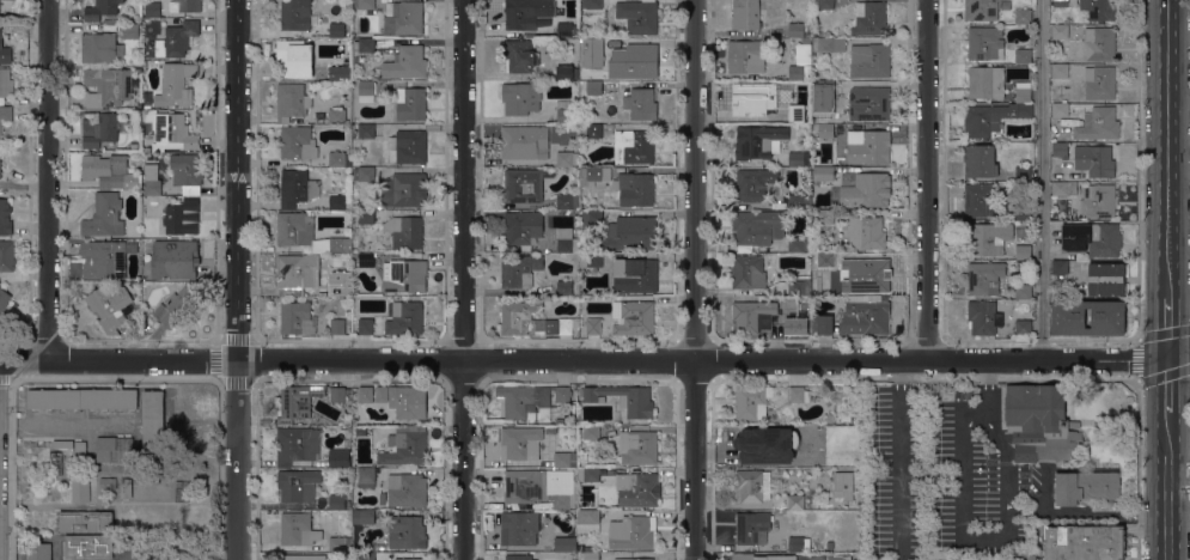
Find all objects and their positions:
building: (1057, 2)
building: (364, 4)
building: (591, 4)
building: (824, 4)
building: (188, 6)
building: (984, 8)
building: (1099, 8)
building: (102, 10)
building: (152, 10)
building: (526, 13)
building: (747, 14)
building: (297, 16)
building: (639, 16)
building: (1023, 17)
building: (403, 18)
building: (869, 18)
building: (110, 20)
building: (336, 30)
building: (567, 30)
building: (795, 30)
building: (1060, 31)
building: (129, 32)
building: (179, 37)
building: (806, 41)
building: (985, 43)
building: (1099, 43)
building: (366, 44)
building: (593, 44)
building: (830, 44)
building: (355, 45)
building: (100, 48)
building: (159, 48)
building: (4, 51)
building: (1023, 55)
building: (520, 56)
building: (747, 57)
building: (292, 59)
building: (869, 61)
building: (633, 62)
building: (801, 63)
building: (405, 65)
building: (1060, 71)
building: (337, 72)
building: (567, 72)
building: (358, 74)
building: (6, 83)
building: (985, 83)
building: (1099, 83)
building: (806, 84)
building: (108, 85)
building: (176, 85)
building: (829, 86)
building: (593, 87)
building: (366, 91)
building: (1023, 91)
building: (520, 98)
building: (753, 98)
building: (289, 102)
building: (641, 103)
building: (869, 103)
building: (413, 104)
building: (1060, 110)
building: (565, 111)
building: (823, 111)
building: (5, 114)
building: (795, 115)
building: (336, 116)
building: (991, 117)
building: (1098, 124)
building: (100, 129)
building: (173, 130)
building: (372, 130)
building: (591, 130)
building: (825, 130)
building: (514, 140)
building: (758, 141)
building: (298, 144)
building: (636, 145)
building: (134, 146)
building: (410, 146)
building: (872, 147)
road: (1170, 147)
building: (1060, 150)
building: (566, 156)
building: (335, 158)
building: (795, 159)
building: (1094, 160)
building: (980, 162)
building: (94, 166)
building: (0, 169)
building: (187, 172)
building: (366, 172)
building: (823, 174)
building: (1023, 174)
building: (594, 175)
building: (1070, 176)
road: (48, 179)
building: (130, 179)
road: (924, 179)
road: (1041, 179)
building: (152, 183)
building: (753, 184)
building: (524, 185)
building: (297, 188)
building: (1064, 188)
building: (634, 189)
building: (404, 190)
building: (867, 190)
building: (977, 199)
building: (1098, 200)
building: (567, 201)
building: (799, 201)
building: (336, 202)
building: (1023, 212)
building: (104, 215)
building: (179, 215)
building: (366, 217)
building: (825, 217)
building: (5, 218)
building: (590, 218)
building: (295, 227)
building: (757, 227)
building: (521, 230)
building: (836, 230)
building: (405, 231)
building: (866, 232)
building: (631, 233)
building: (991, 238)
building: (1091, 238)
building: (566, 239)
building: (340, 244)
building: (798, 244)
building: (1023, 251)
building: (6, 256)
building: (105, 257)
building: (365, 258)
building: (175, 260)
building: (592, 260)
building: (830, 260)
building: (1060, 267)
building: (521, 270)
building: (297, 272)
building: (747, 272)
building: (404, 275)
building: (636, 275)
building: (869, 276)
building: (984, 278)
road: (236, 279)
building: (1106, 279)
road: (463, 280)
road: (688, 280)
building: (340, 282)
building: (565, 287)
building: (798, 287)
building: (1023, 291)
building: (4, 299)
building: (110, 306)
building: (175, 308)
building: (404, 317)
building: (519, 317)
building: (633, 317)
building: (752, 317)
building: (863, 317)
building: (983, 317)
building: (297, 318)
building: (1107, 321)
building: (365, 324)
building: (560, 325)
building: (593, 325)
building: (797, 325)
building: (822, 325)
building: (337, 327)
building: (1023, 327)
road: (1168, 328)
building: (136, 329)
building: (606, 330)
road: (596, 360)
road: (1168, 384)
building: (338, 394)
building: (366, 394)
building: (799, 394)
building: (81, 398)
building: (623, 398)
building: (408, 401)
building: (532, 401)
building: (752, 401)
building: (297, 402)
building: (1035, 407)
building: (152, 416)
building: (830, 416)
building: (846, 418)
building: (560, 421)
road: (62, 422)
building: (591, 432)
building: (752, 440)
building: (520, 443)
building: (1029, 443)
building: (62, 444)
building: (297, 445)
building: (80, 446)
building: (405, 446)
building: (637, 446)
building: (1067, 446)
building: (115, 449)
building: (1024, 457)
building: (338, 458)
building: (561, 459)
building: (795, 459)
road: (1168, 462)
building: (55, 463)
building: (151, 474)
building: (591, 474)
parking lot: (942, 476)
road: (942, 476)
building: (365, 477)
building: (108, 482)
building: (298, 485)
building: (750, 486)
building: (1085, 486)
building: (126, 487)
building: (405, 489)
building: (535, 489)
building: (80, 491)
building: (639, 491)
building: (795, 501)
building: (336, 503)
road: (1041, 510)
building: (362, 517)
building: (588, 519)
building: (85, 521)
building: (752, 526)
building: (519, 528)
building: (298, 529)
building: (405, 531)
building: (631, 532)
road: (1170, 537)
road: (969, 541)
building: (1085, 542)
building: (557, 543)
building: (798, 543)
building: (340, 544)
building: (829, 544)
building: (89, 546)
building: (39, 550)
building: (1030, 550)
building: (588, 554)
building: (301, 556)
building: (366, 556)
building: (518, 556)
building: (746, 556)
building: (837, 556)
building: (1030, 558)
building: (411, 559)
building: (637, 559)

